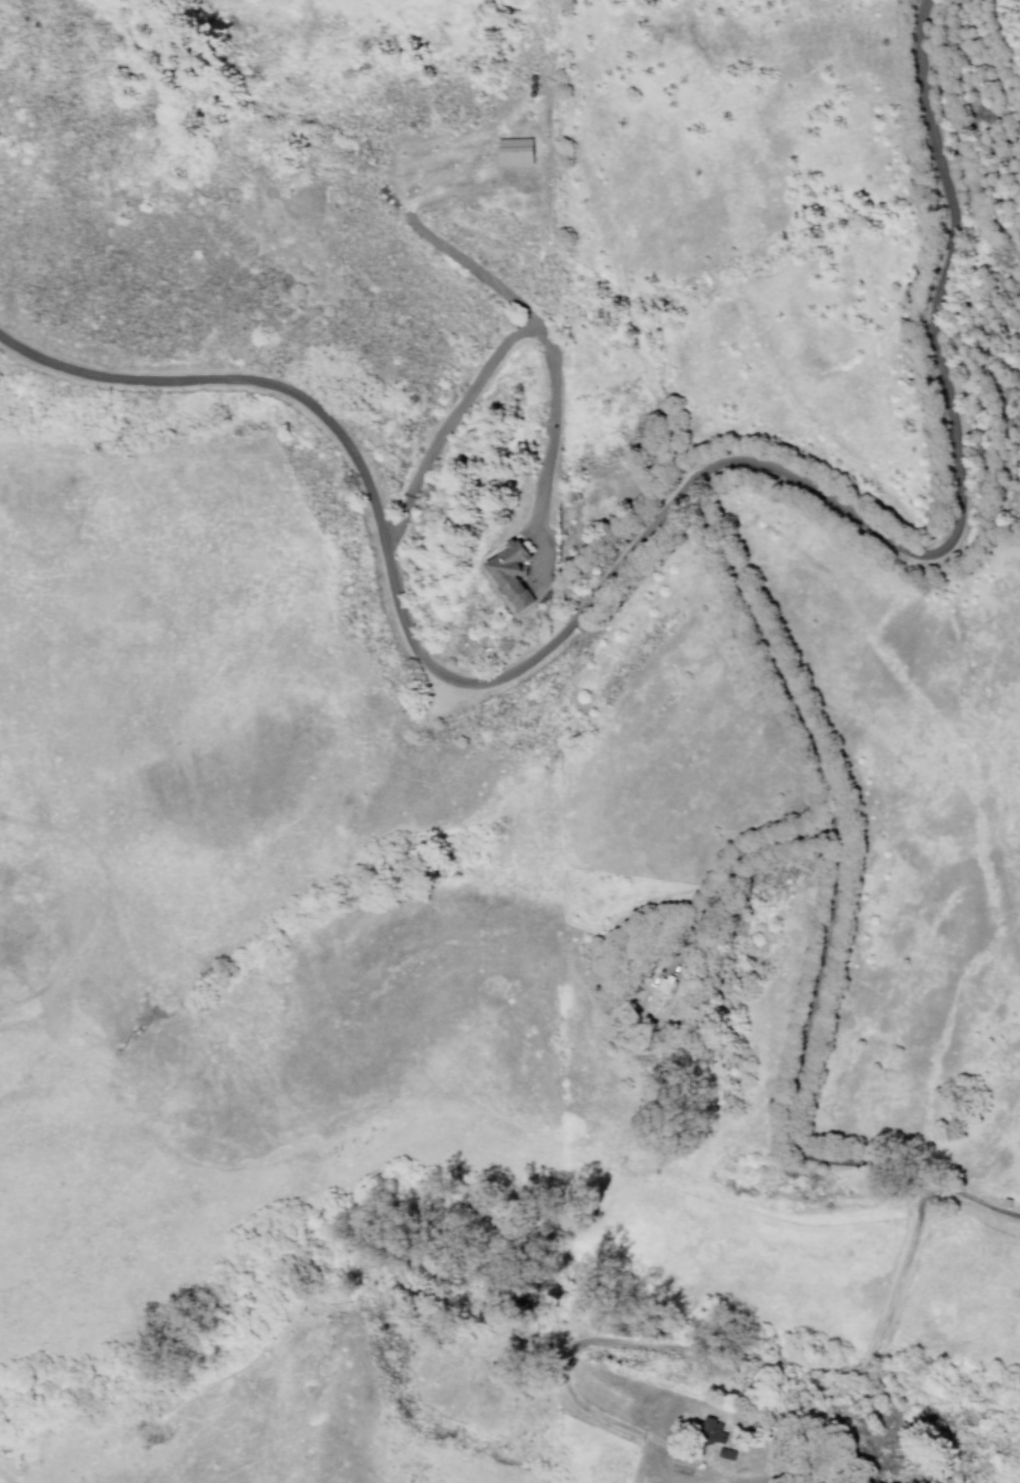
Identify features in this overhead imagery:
building: (510, 146)
road: (477, 270)
road: (508, 340)
road: (650, 527)
building: (506, 572)
road: (731, 864)
road: (832, 922)
road: (704, 1349)
building: (712, 1429)

